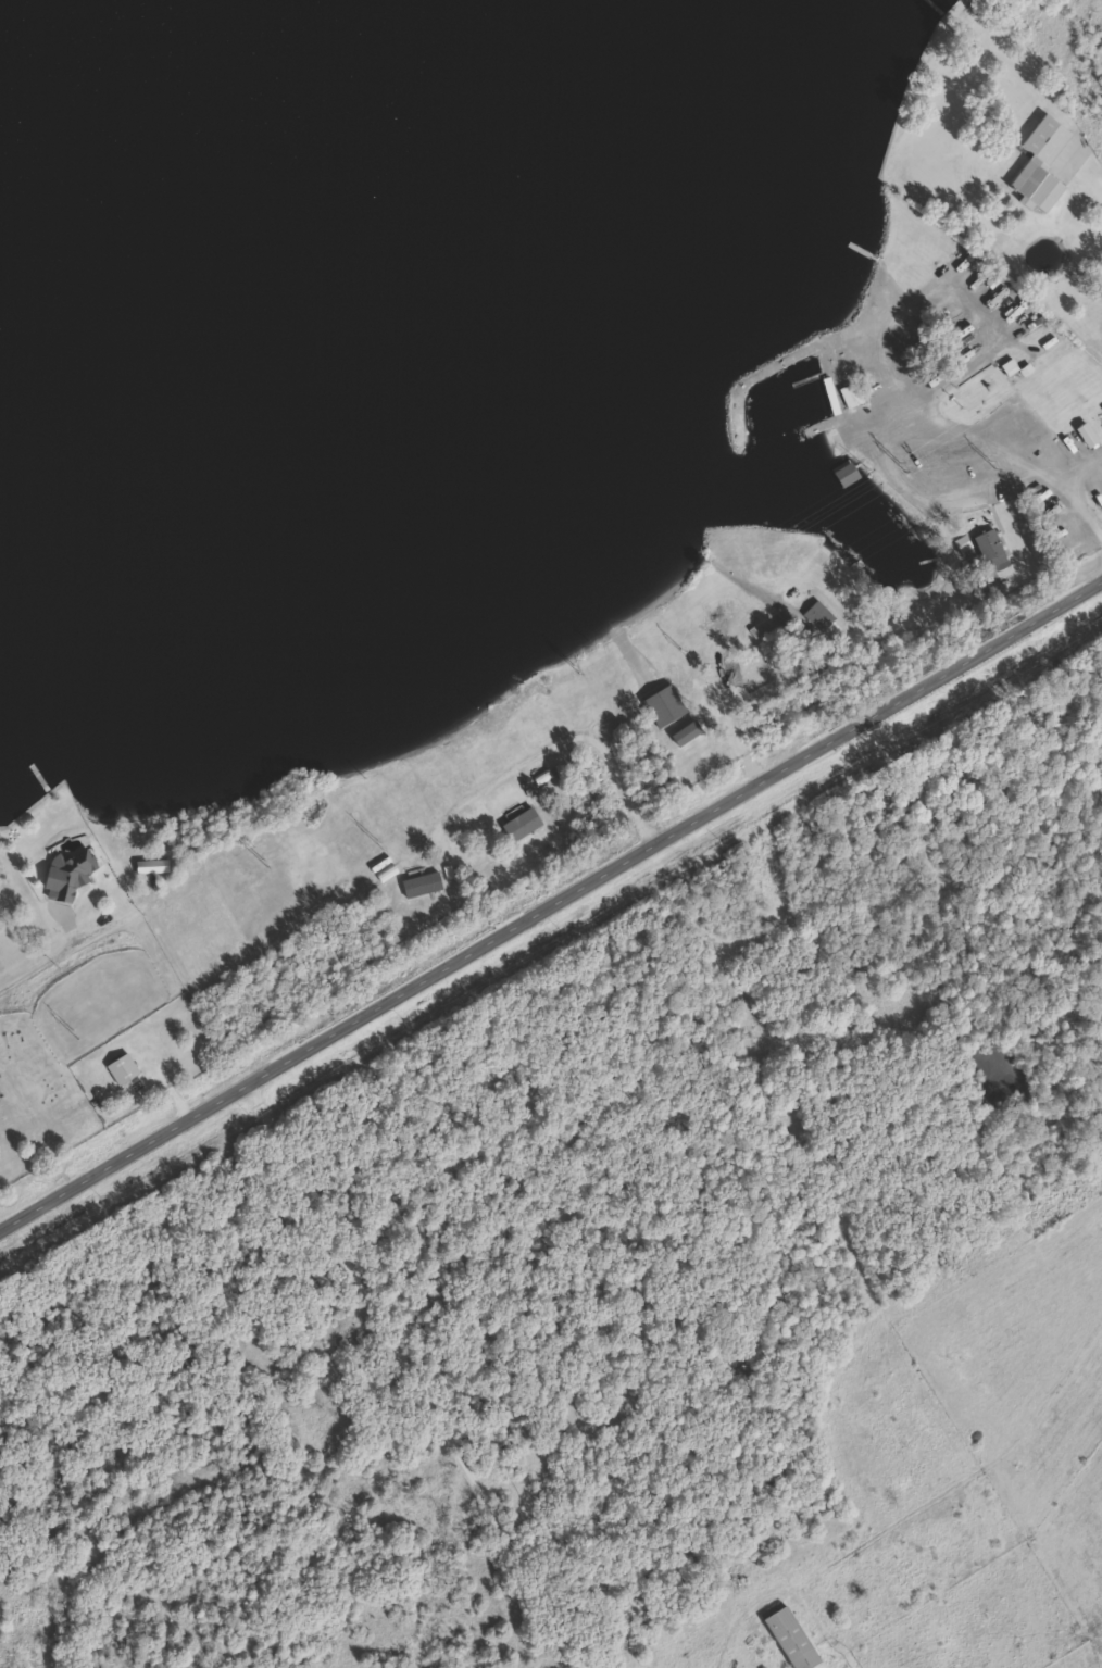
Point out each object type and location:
building: (1042, 163)
road: (875, 349)
building: (852, 396)
road: (878, 425)
road: (1011, 440)
road: (1088, 475)
building: (990, 543)
building: (68, 876)
road: (552, 899)
road: (64, 954)
building: (125, 1069)
road: (418, 1372)
road: (974, 1473)
building: (856, 1606)
road: (740, 1617)
building: (794, 1639)

